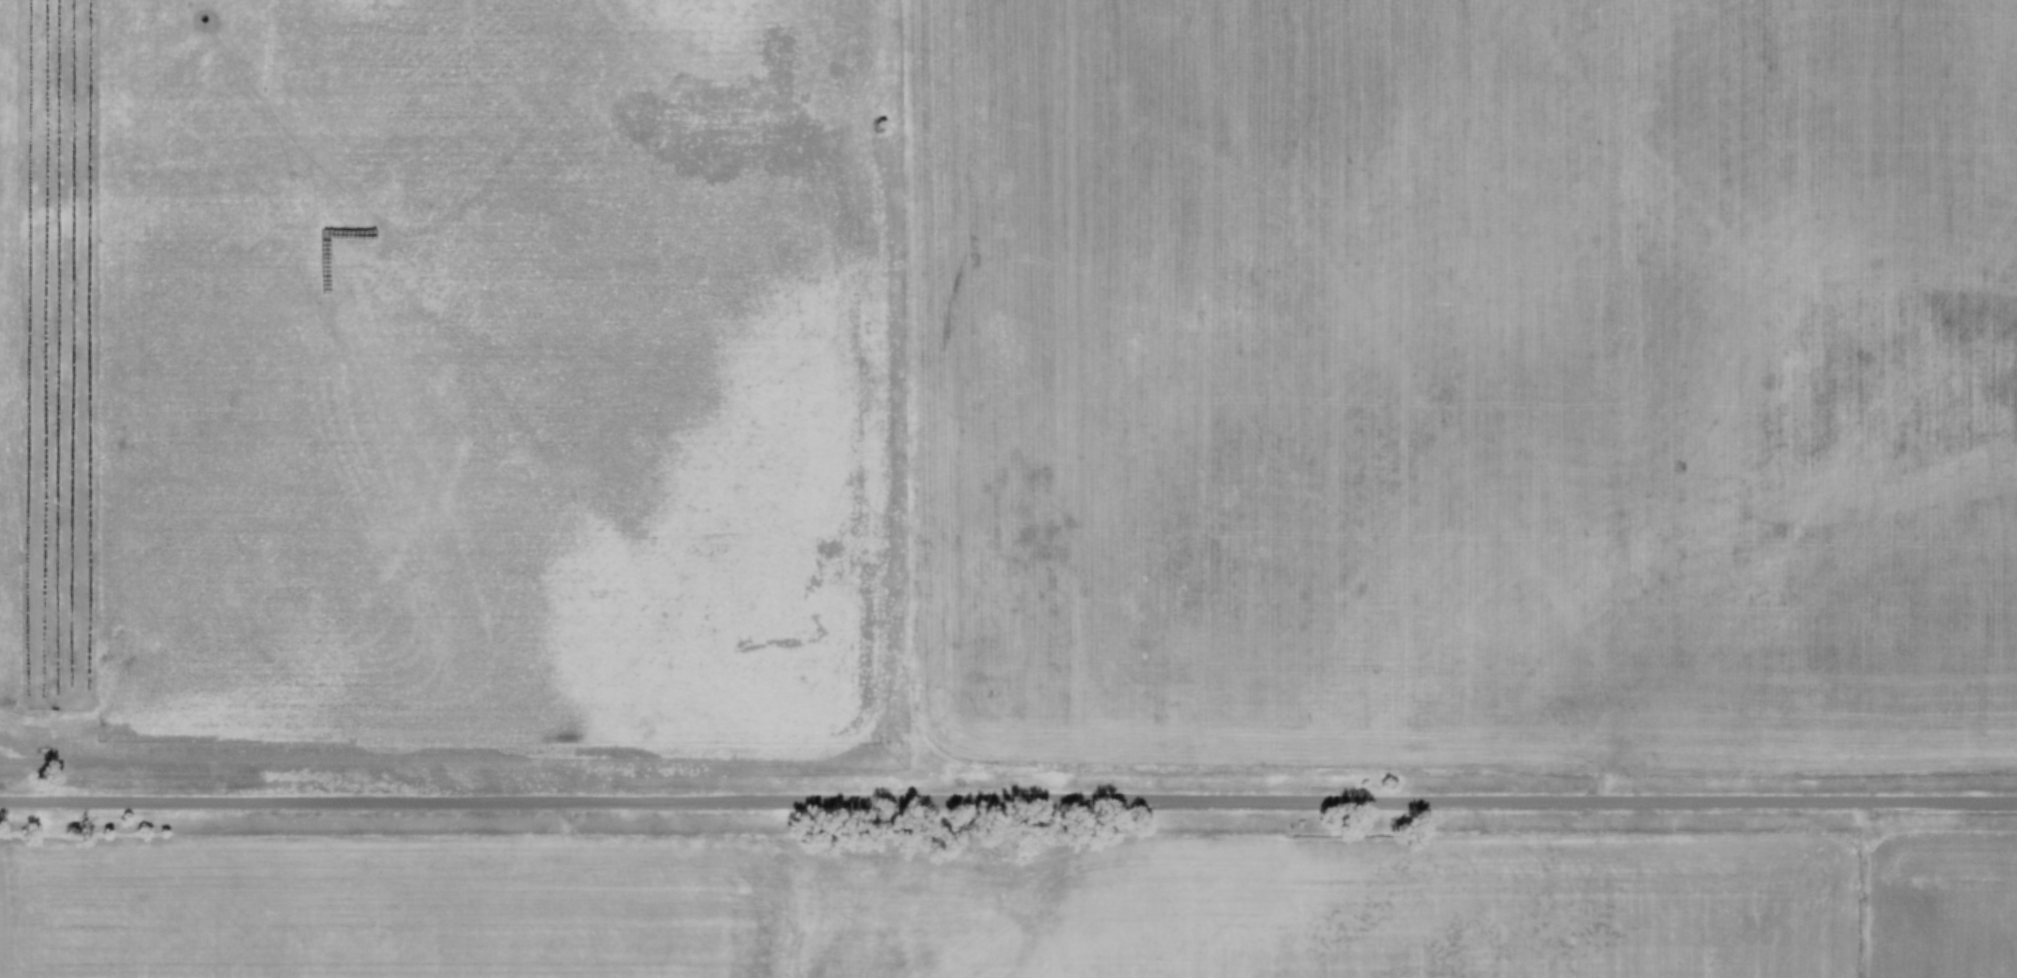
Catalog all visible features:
road: (1008, 805)

